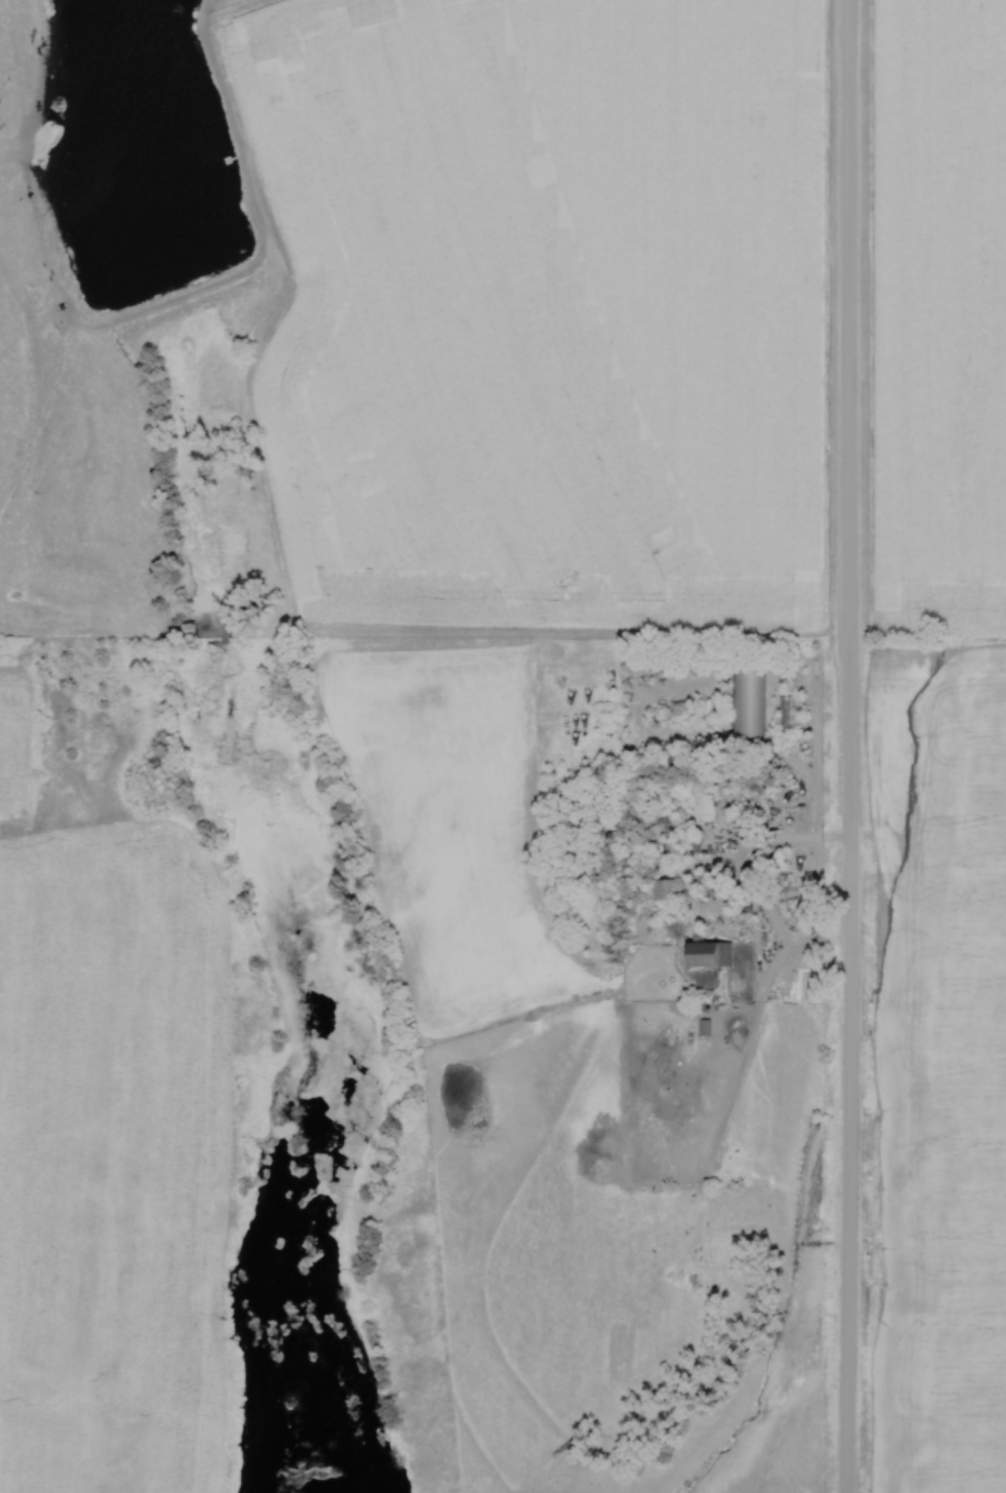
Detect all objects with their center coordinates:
building: (747, 704)
building: (784, 715)
road: (847, 746)
building: (705, 801)
building: (661, 816)
road: (752, 854)
building: (709, 953)

